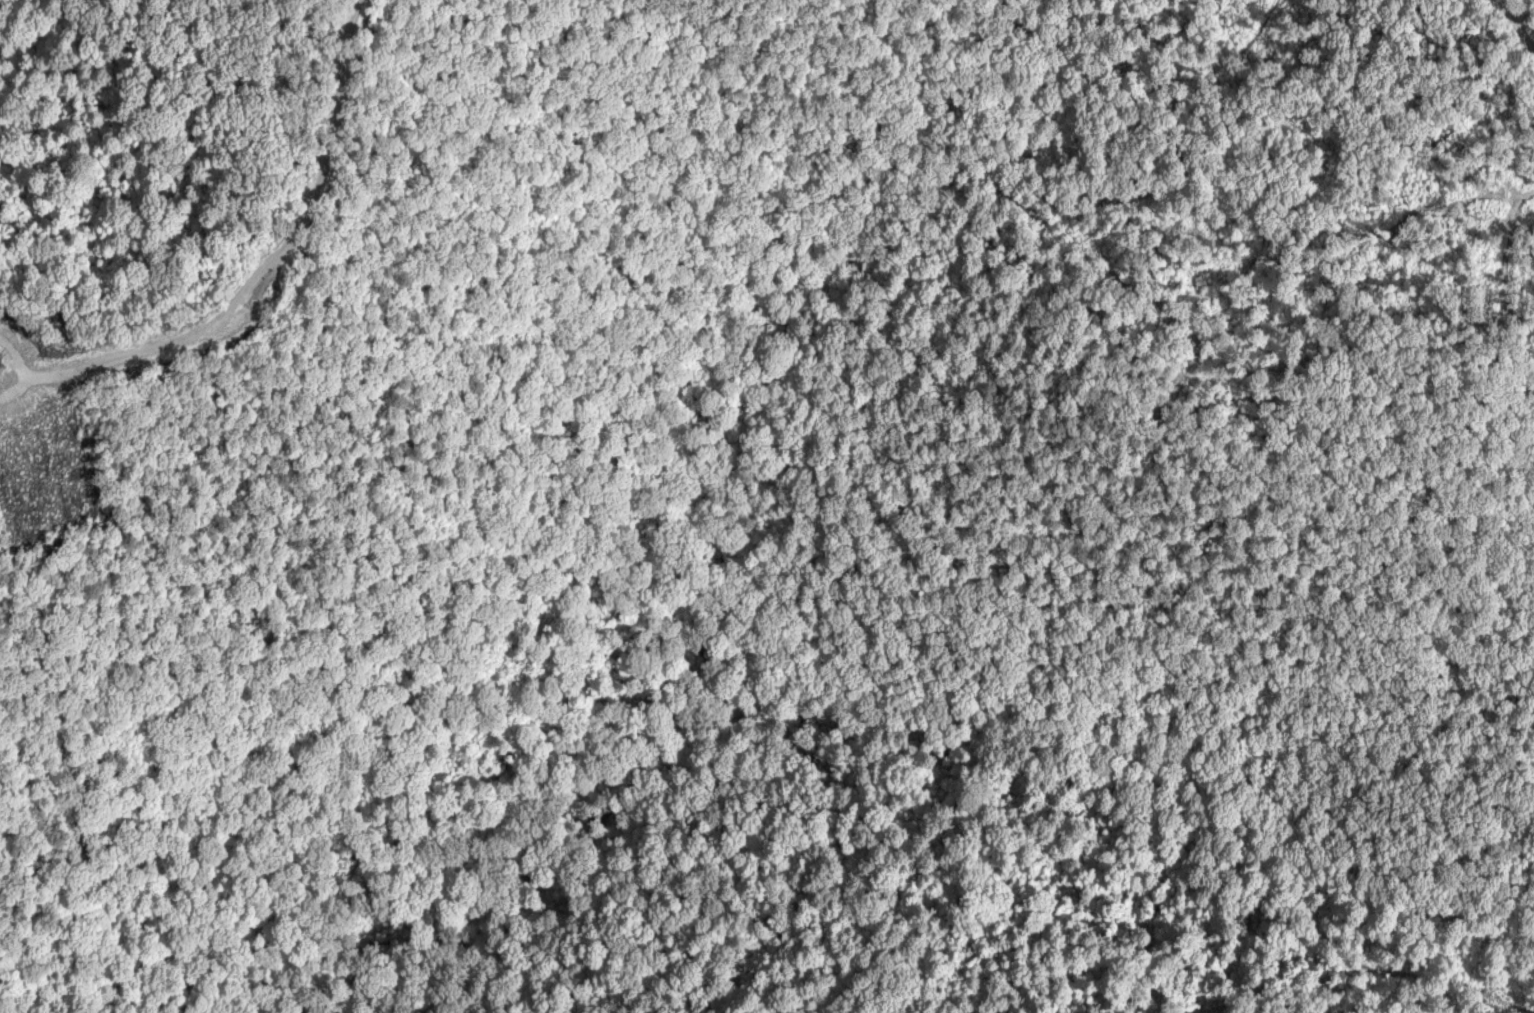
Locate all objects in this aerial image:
road: (1527, 15)

